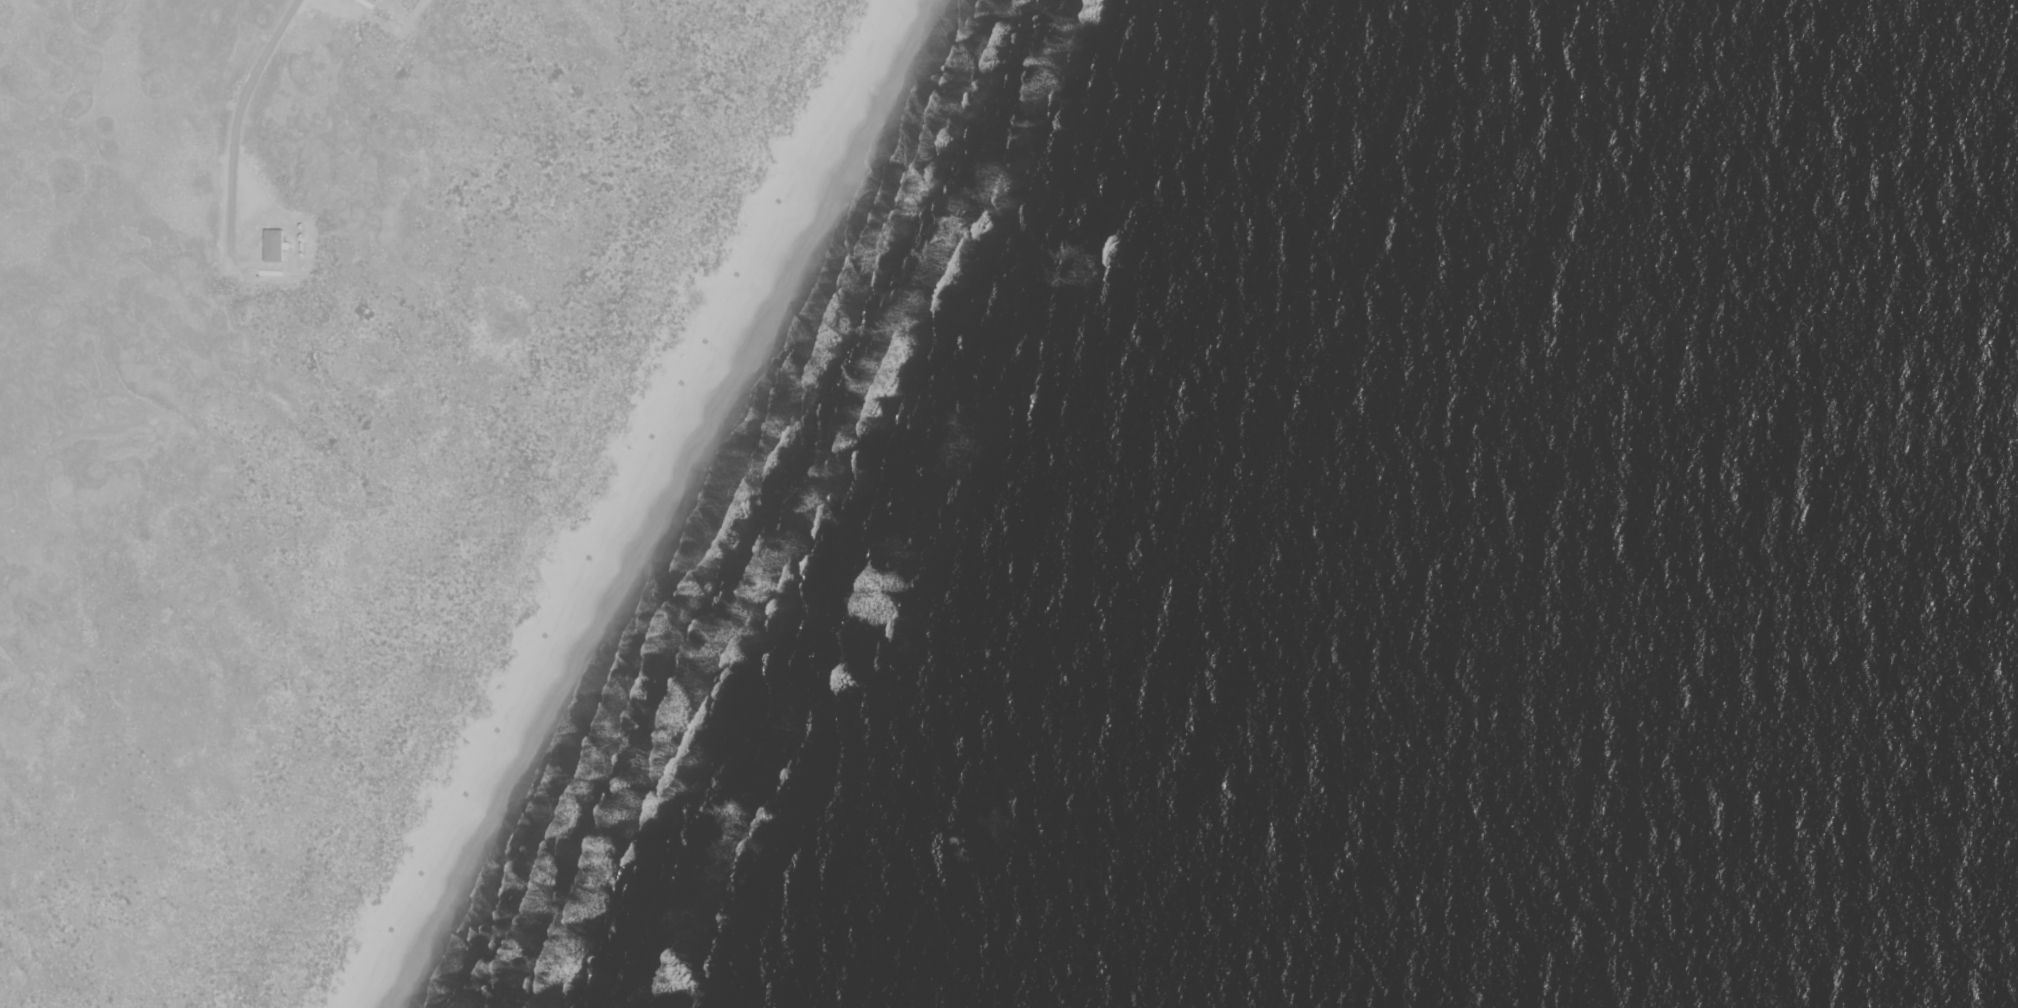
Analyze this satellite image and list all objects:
building: (374, 1)
road: (237, 120)
building: (272, 248)
road: (246, 258)
park: (480, 456)

